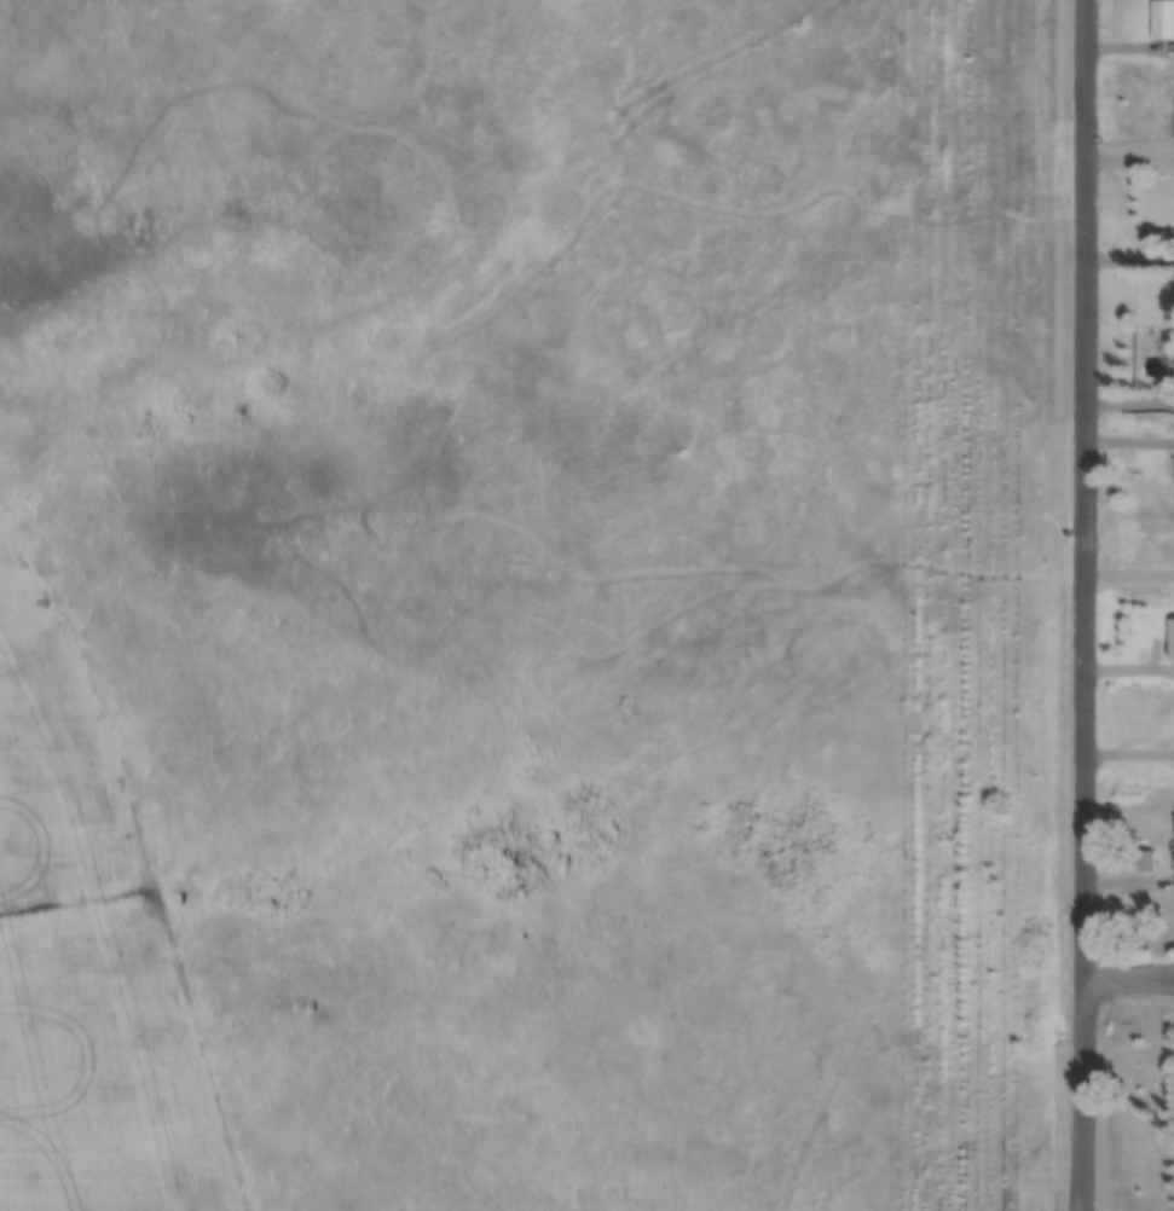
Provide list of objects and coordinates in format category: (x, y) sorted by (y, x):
building: (1162, 18)
road: (1129, 48)
road: (1129, 155)
road: (1130, 402)
road: (1086, 604)
building: (1170, 637)
building: (1172, 838)
building: (1141, 859)
crop: (86, 952)
road: (1129, 980)

